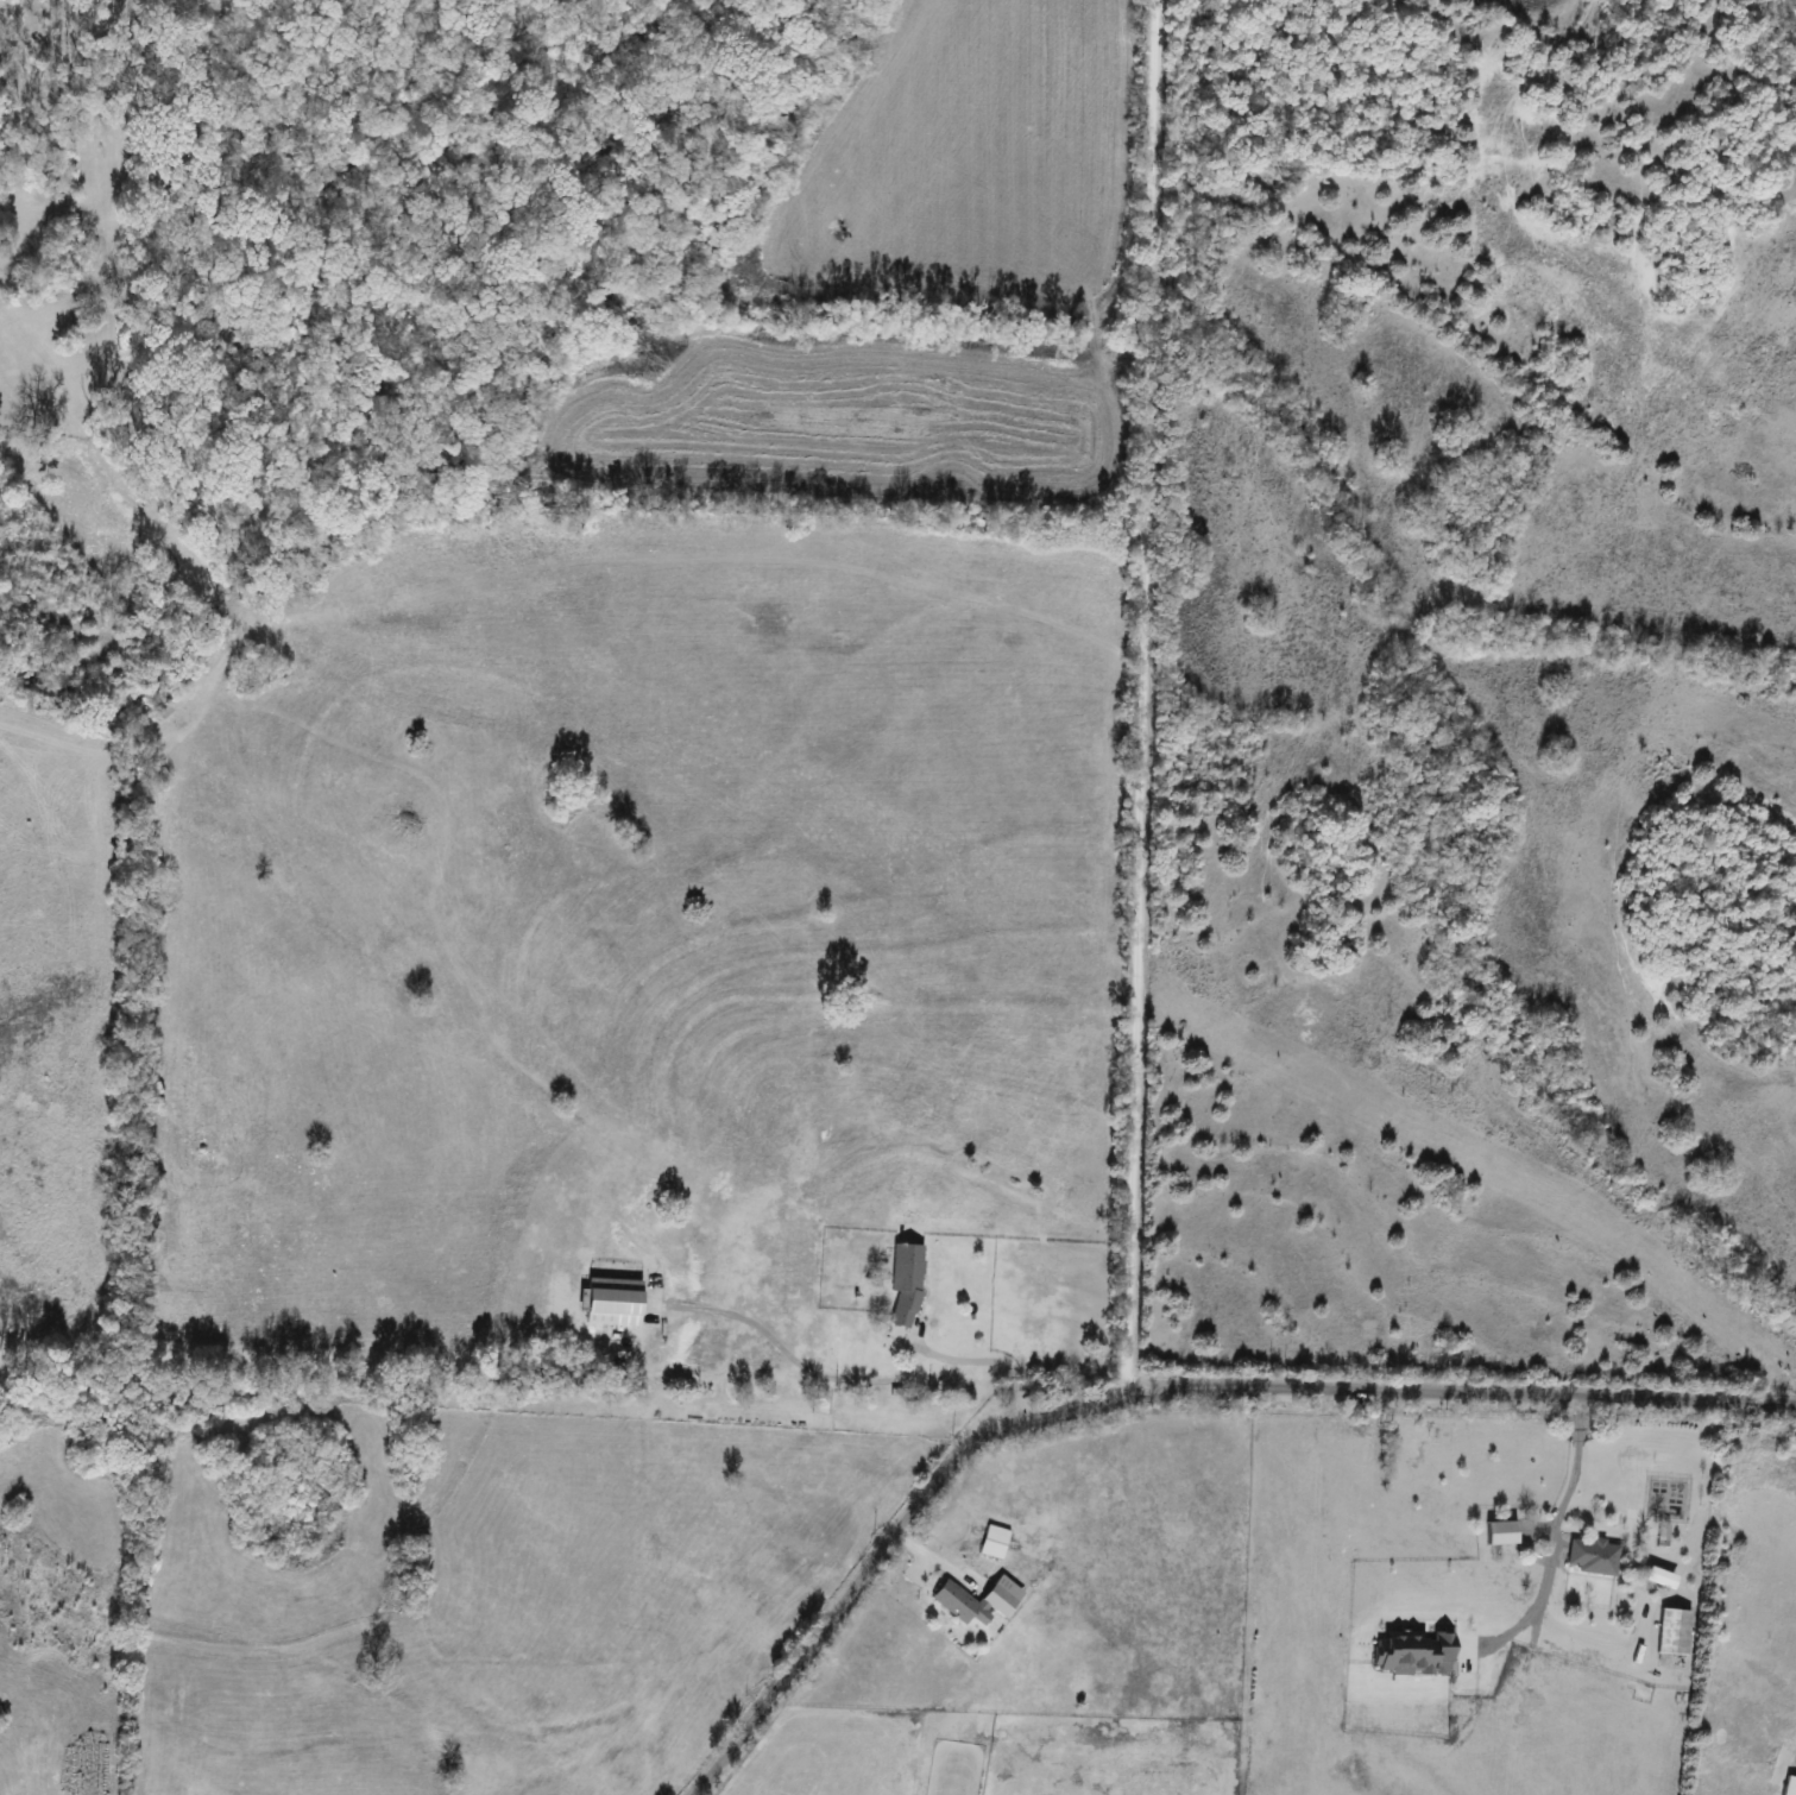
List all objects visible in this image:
road: (1138, 698)
building: (632, 1226)
building: (905, 1284)
road: (984, 1361)
road: (1461, 1392)
building: (1500, 1533)
building: (992, 1542)
road: (1551, 1545)
road: (881, 1551)
building: (1592, 1557)
building: (997, 1600)
building: (956, 1604)
building: (1672, 1632)
building: (1789, 1787)

